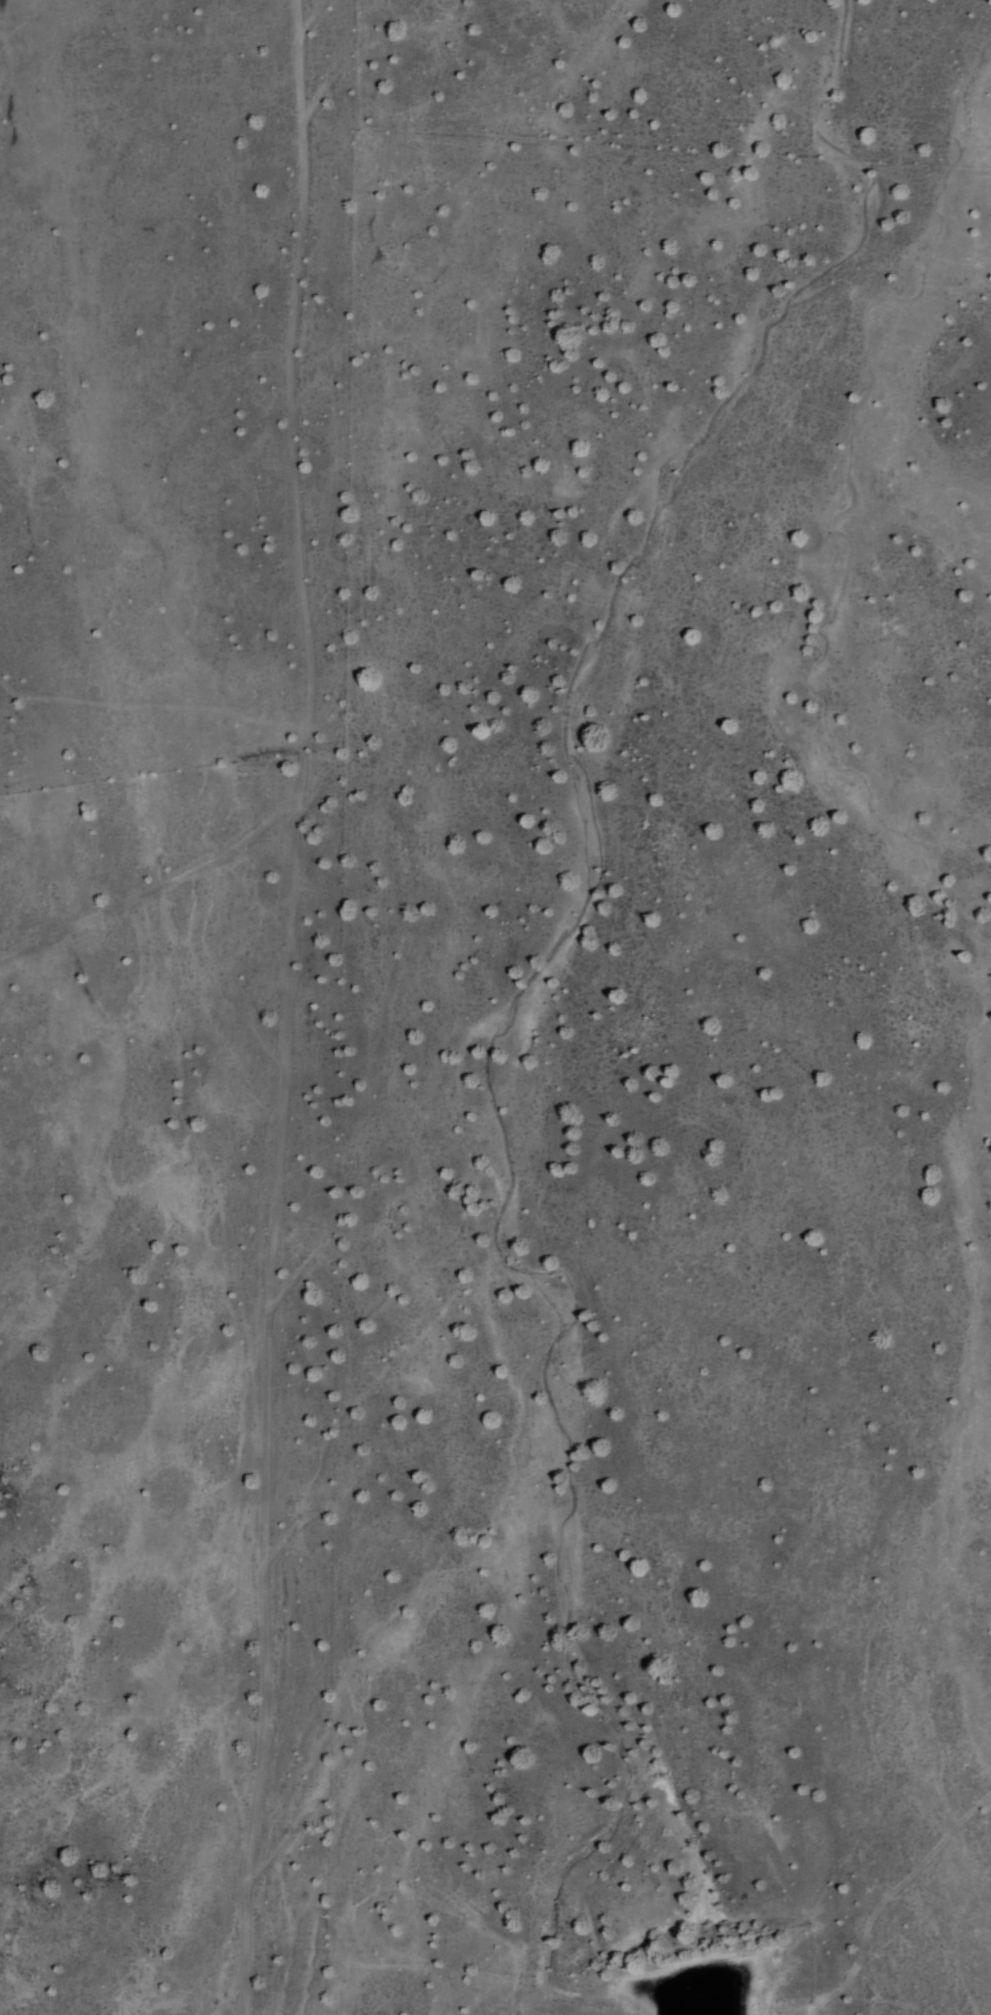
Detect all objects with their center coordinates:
road: (163, 885)
road: (284, 1006)
road: (882, 1905)

